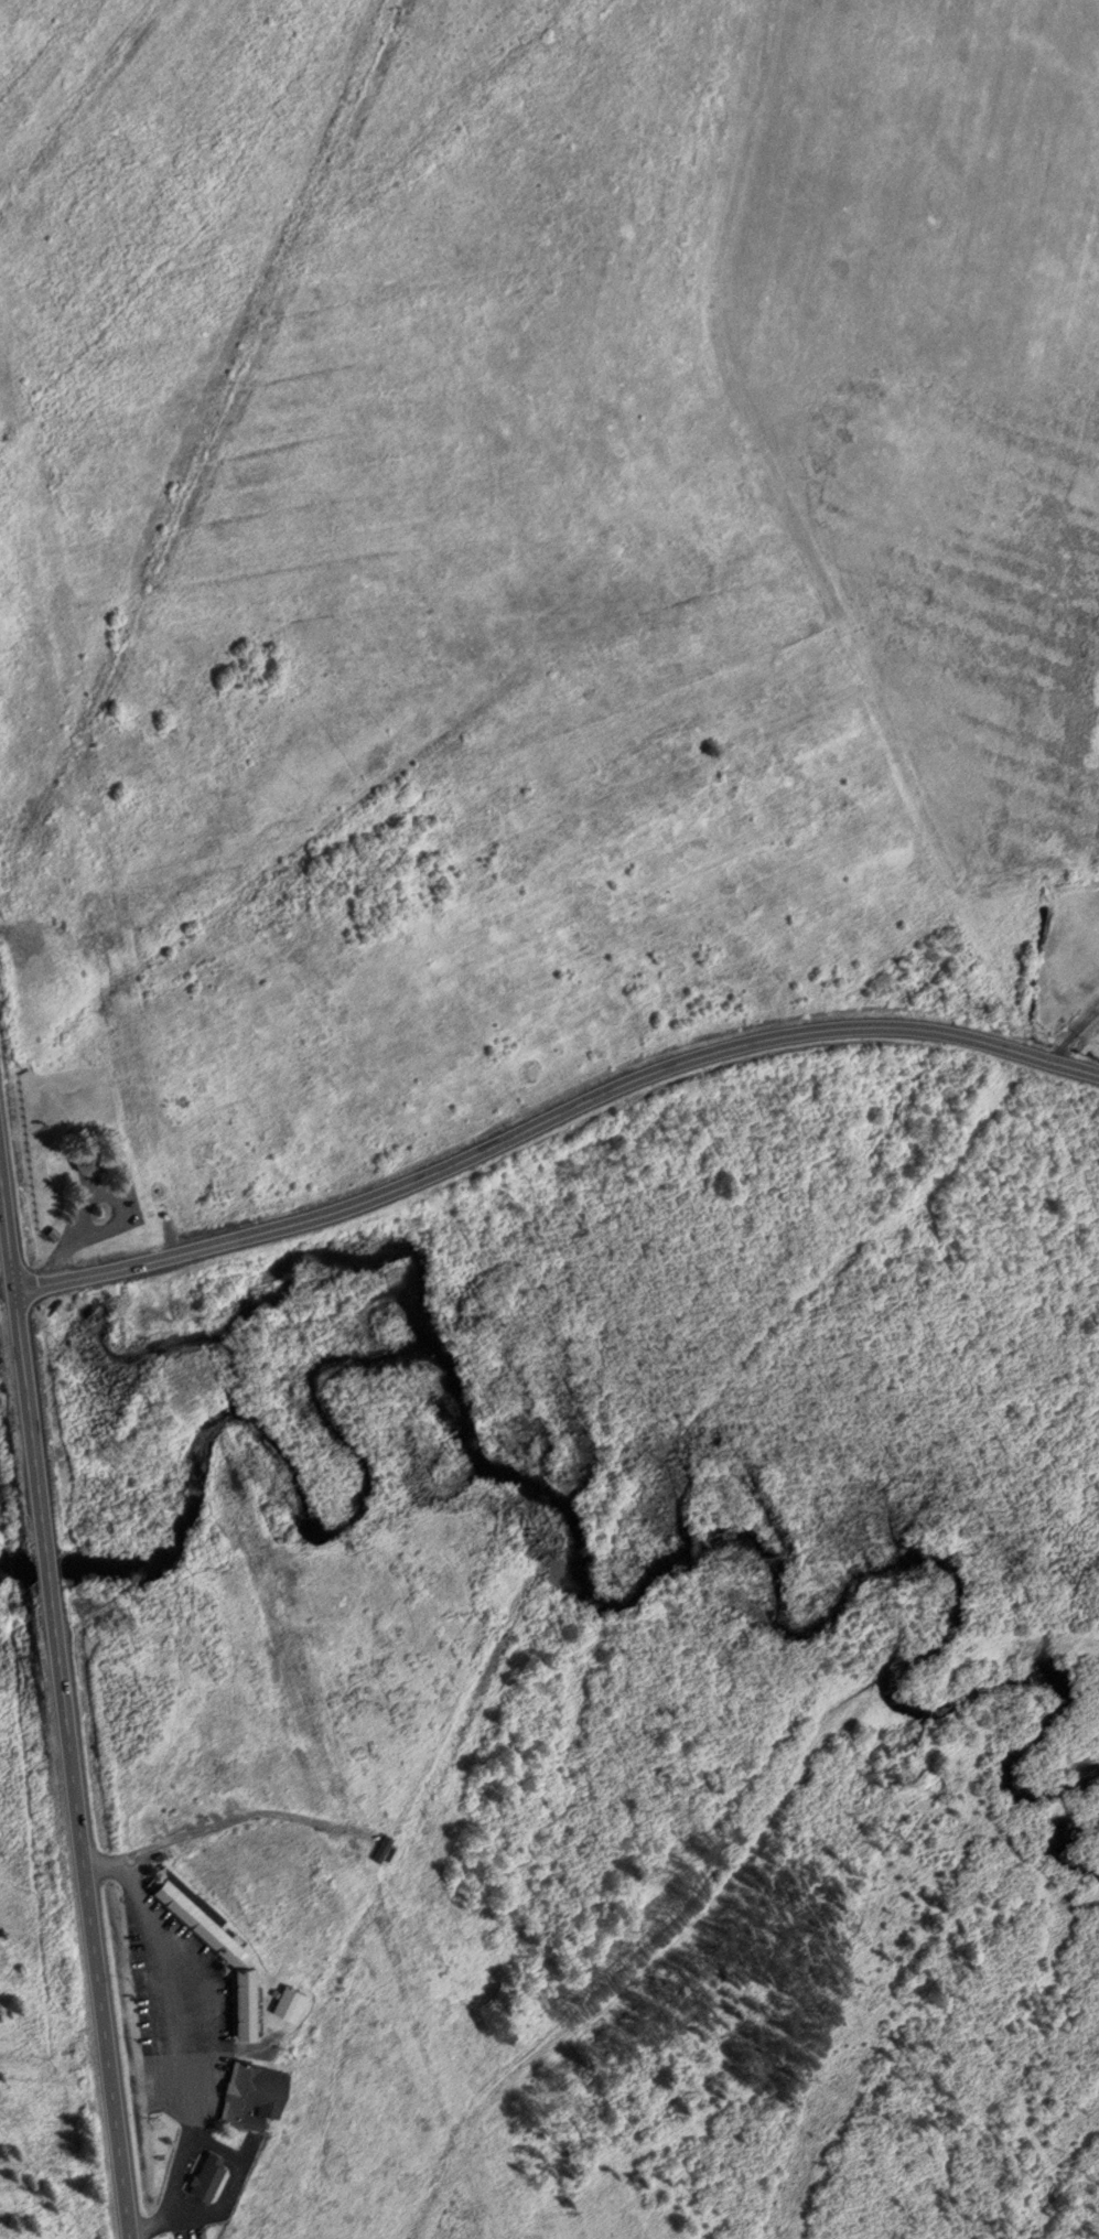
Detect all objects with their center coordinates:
road: (1073, 1035)
road: (552, 1121)
road: (7, 1291)
river: (47, 1567)
river: (18, 1573)
river: (586, 1592)
road: (65, 1710)
river: (1057, 1839)
building: (379, 1850)
building: (236, 1960)
building: (288, 2005)
road: (200, 2020)
building: (250, 2096)
road: (217, 2146)
building: (204, 2177)
road: (224, 2202)

